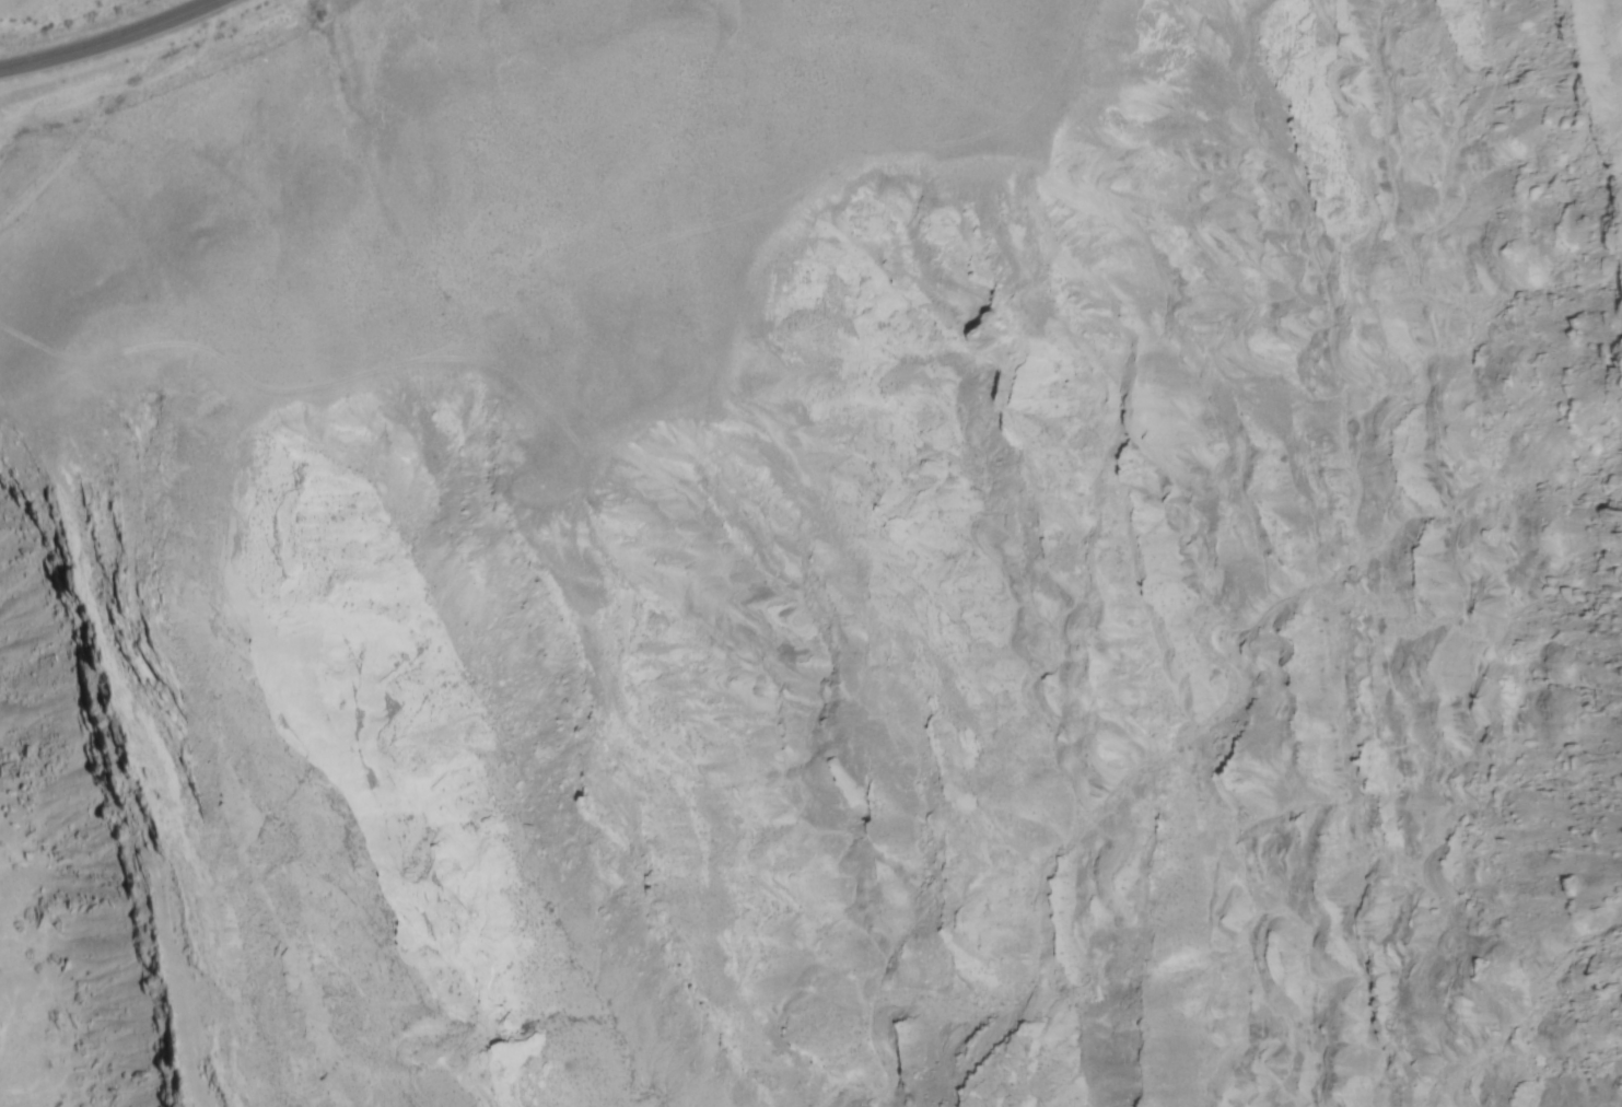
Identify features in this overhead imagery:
road: (124, 43)
road: (296, 106)

